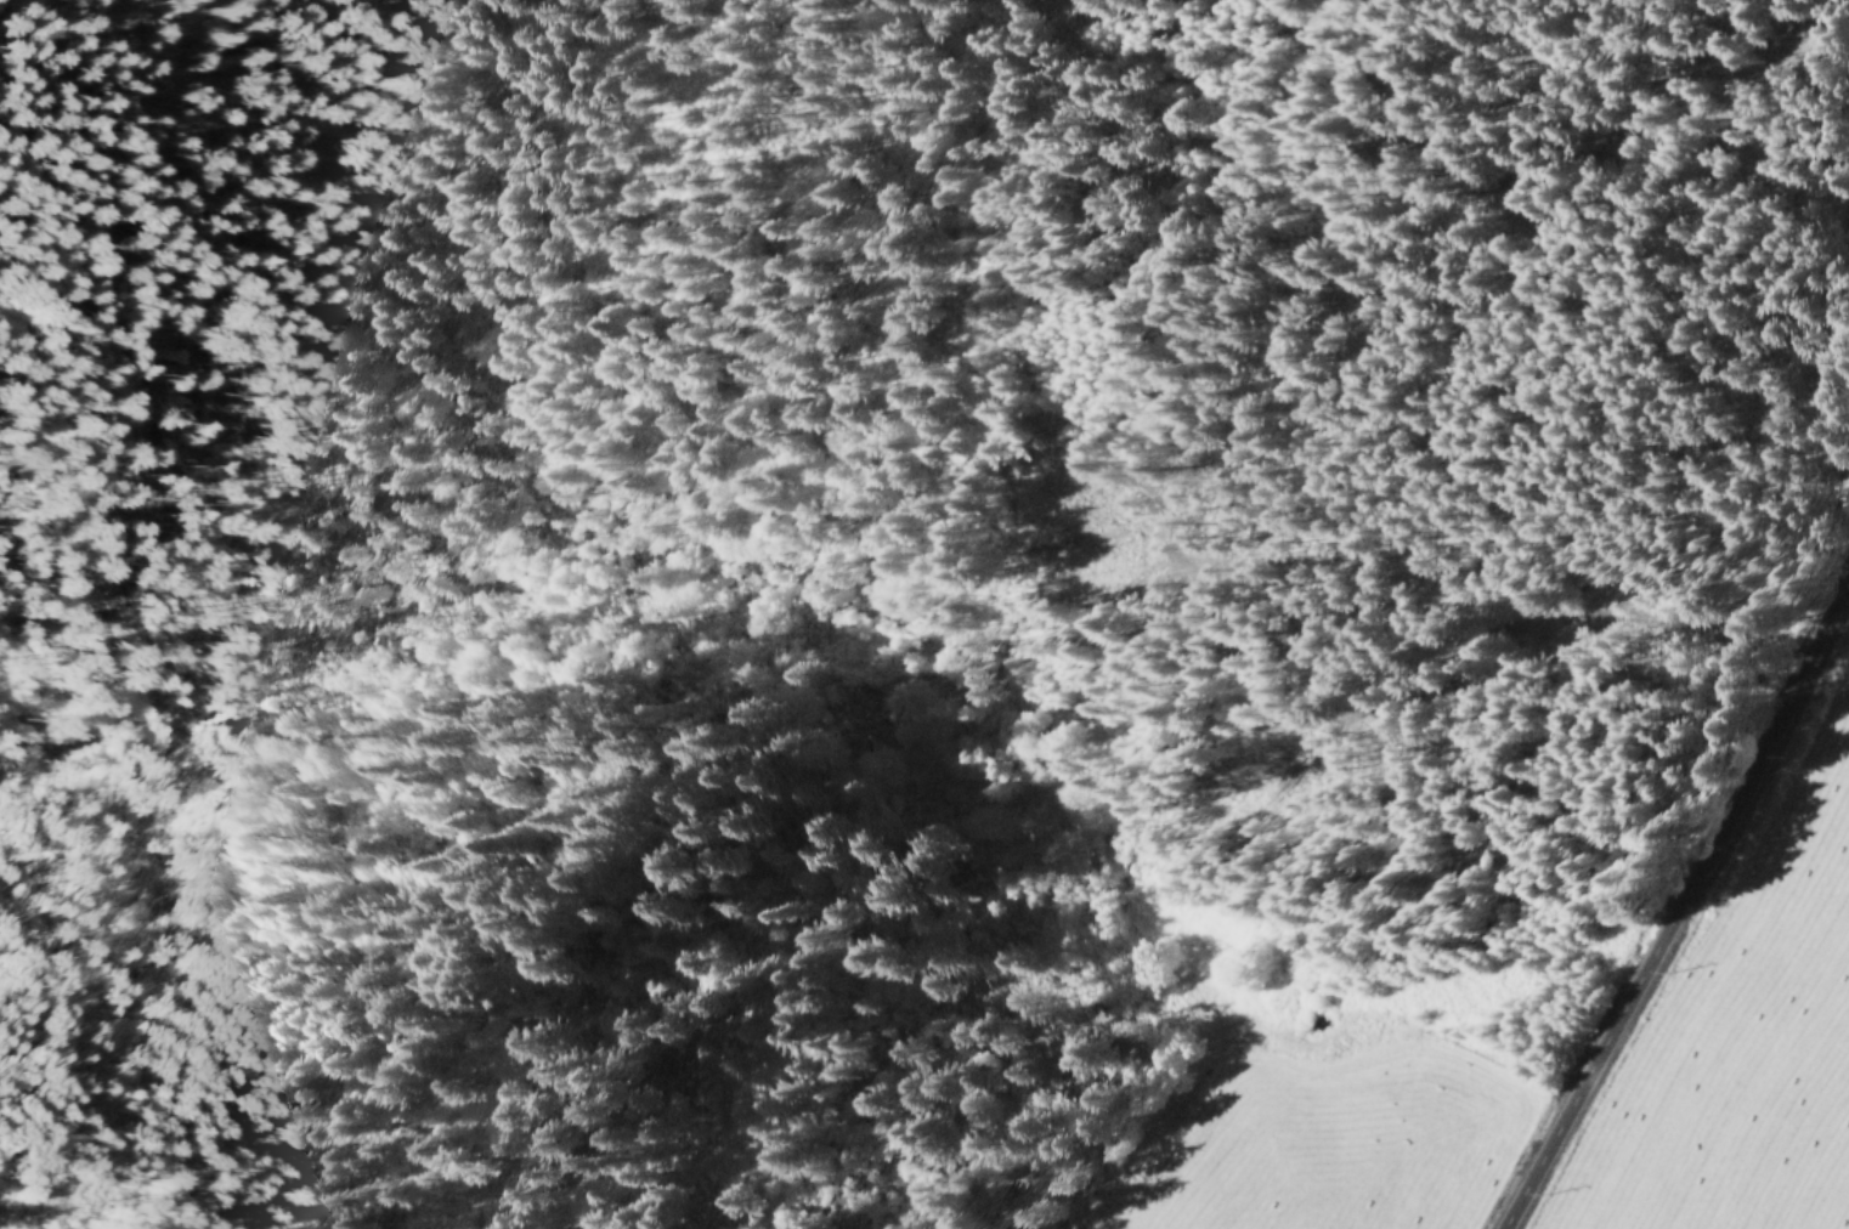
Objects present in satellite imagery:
road: (1679, 900)

